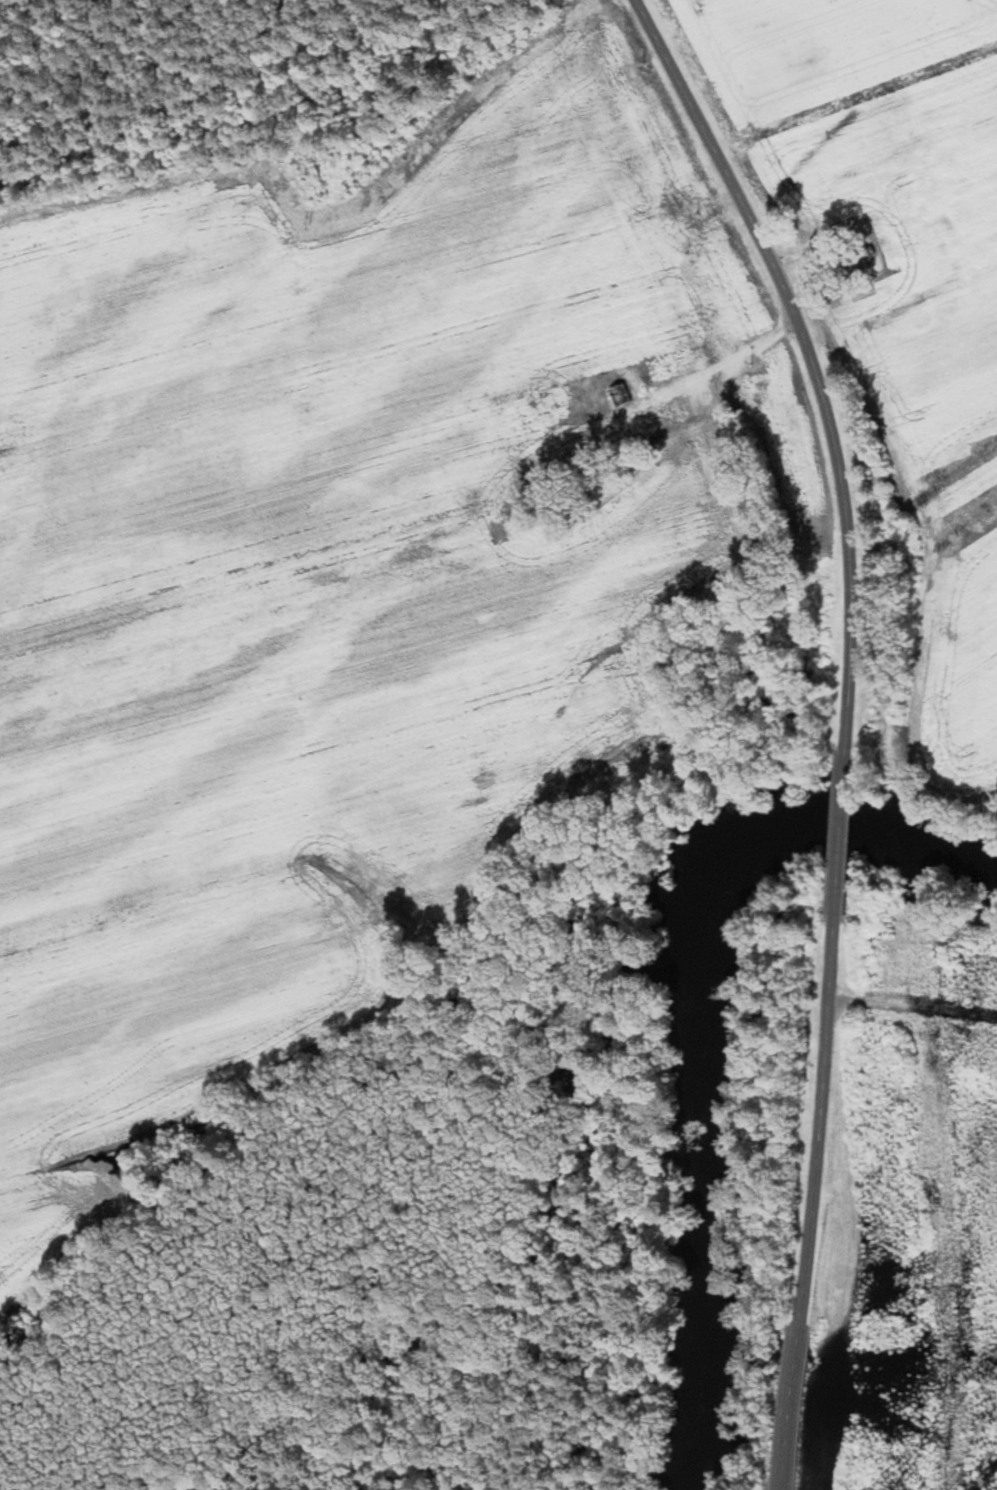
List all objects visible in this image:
road: (815, 371)
road: (686, 381)
building: (618, 396)
river: (748, 839)
road: (844, 845)
road: (898, 1102)
road: (812, 1200)
river: (712, 1280)

